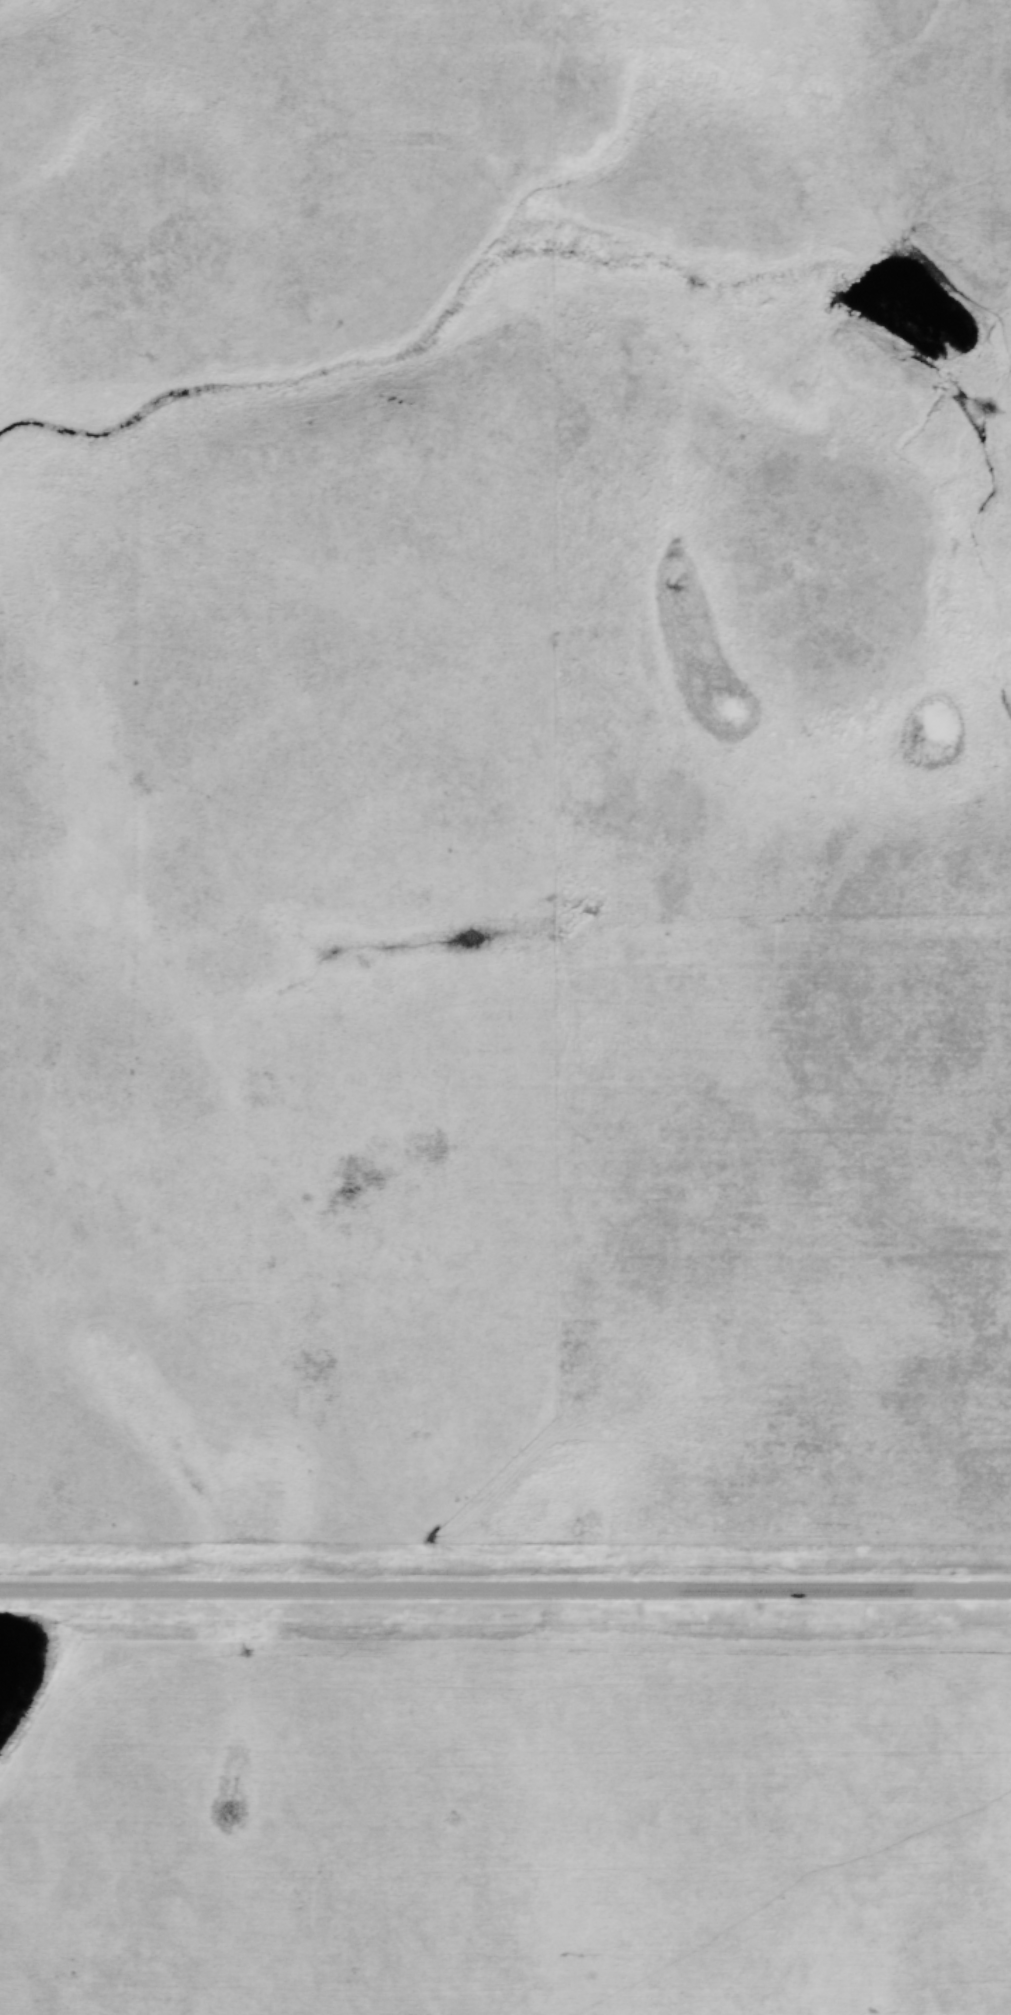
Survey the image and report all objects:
road: (505, 1585)

